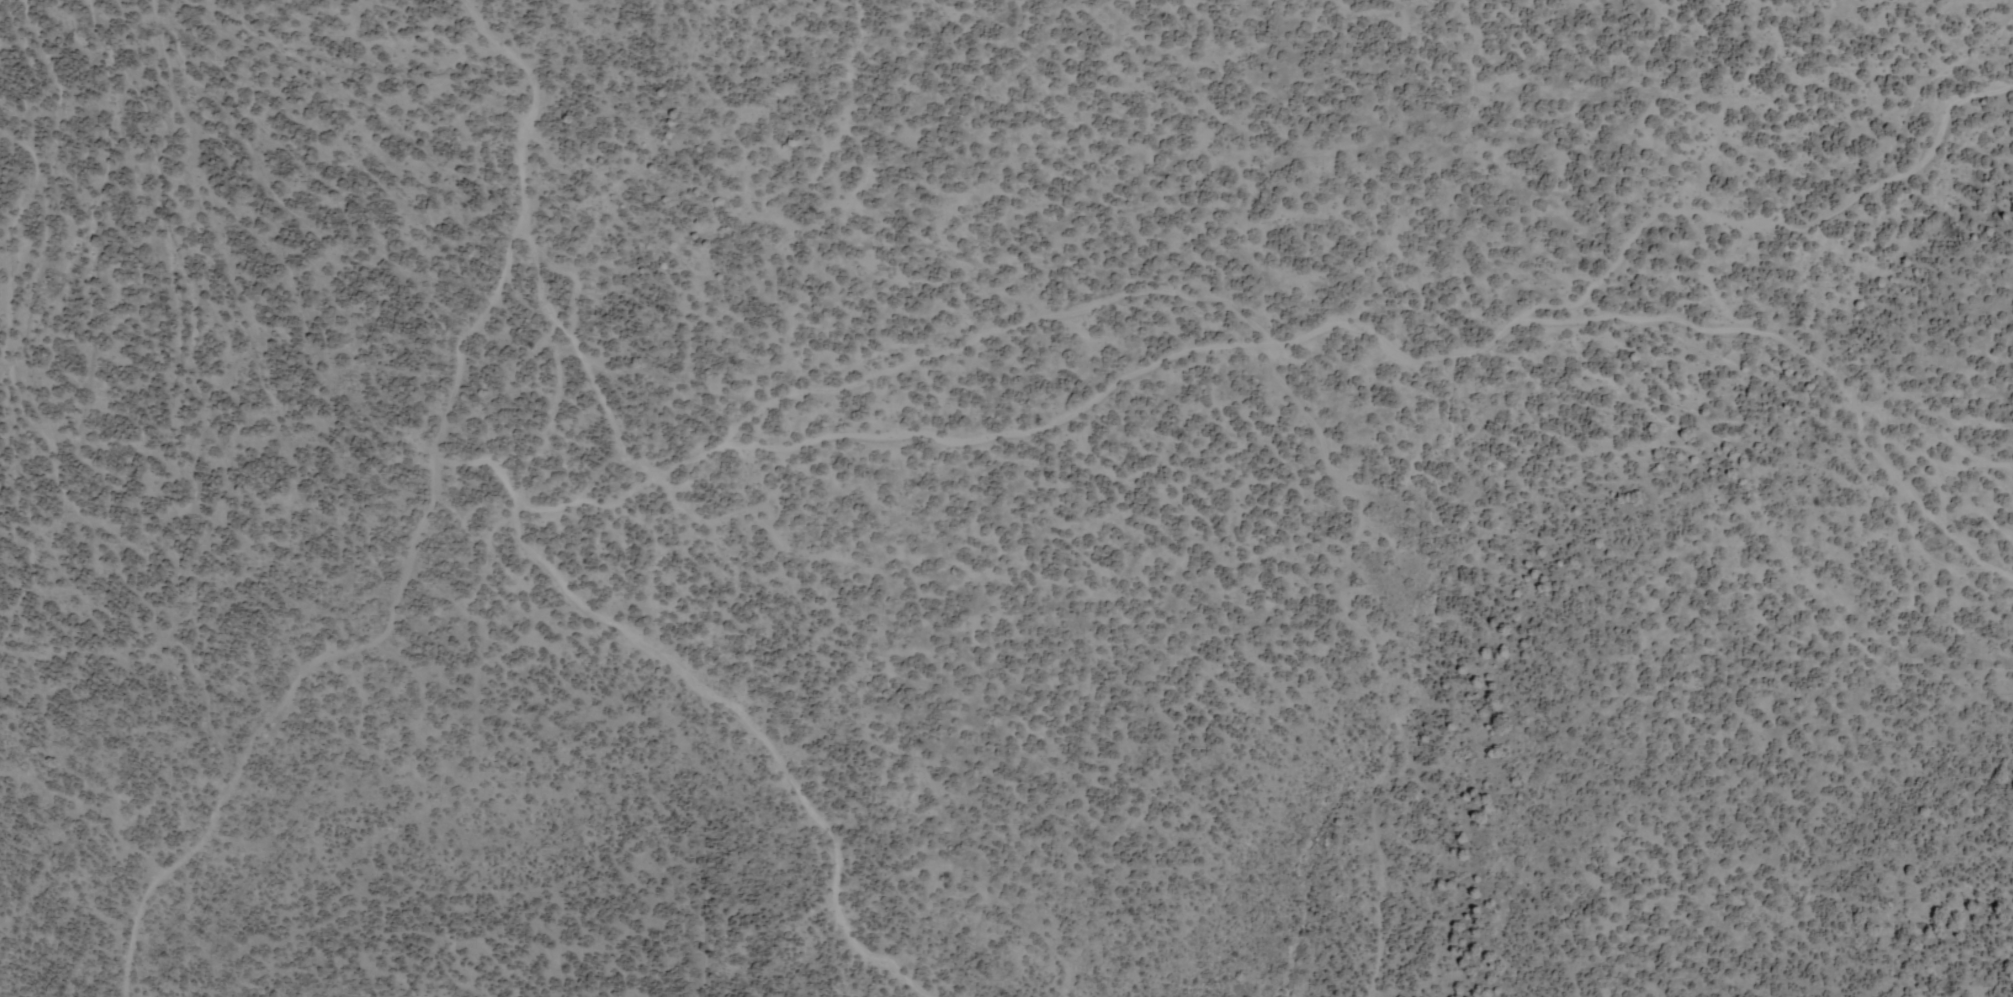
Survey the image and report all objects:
road: (227, 668)

